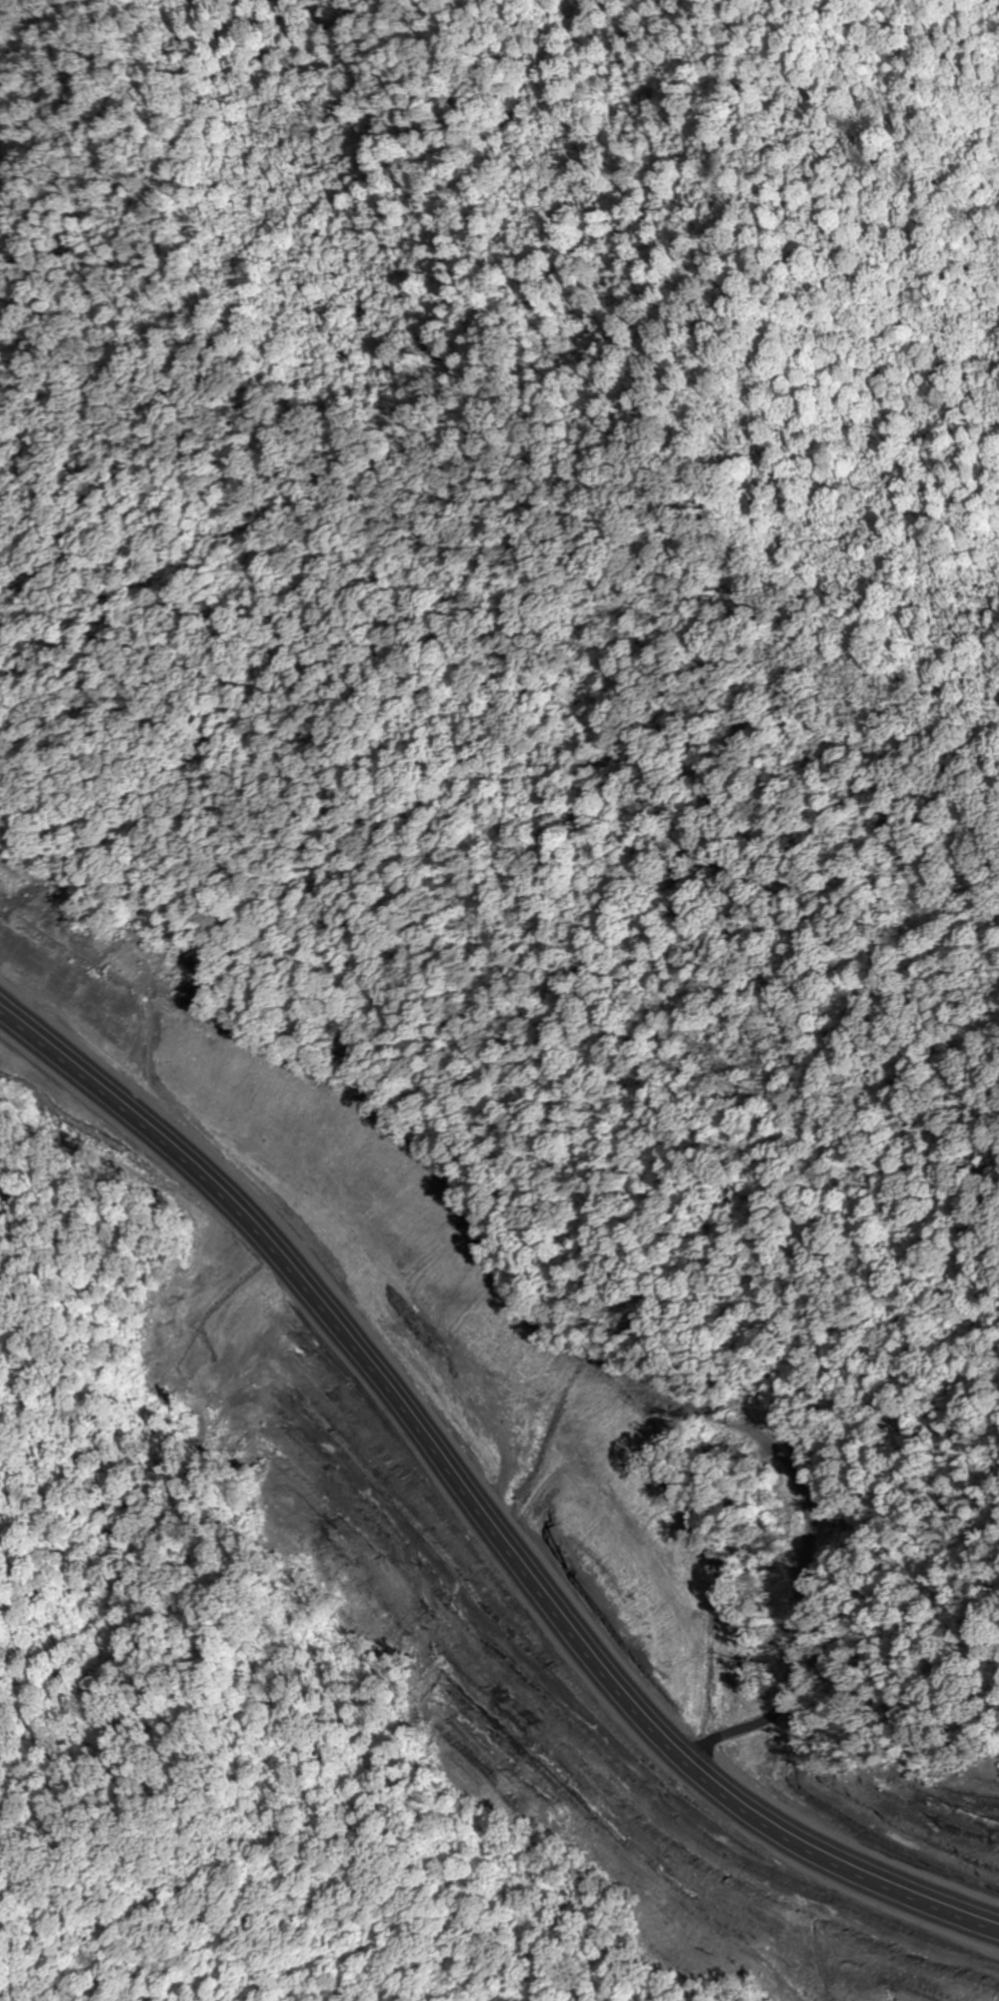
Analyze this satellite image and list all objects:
road: (468, 1518)

